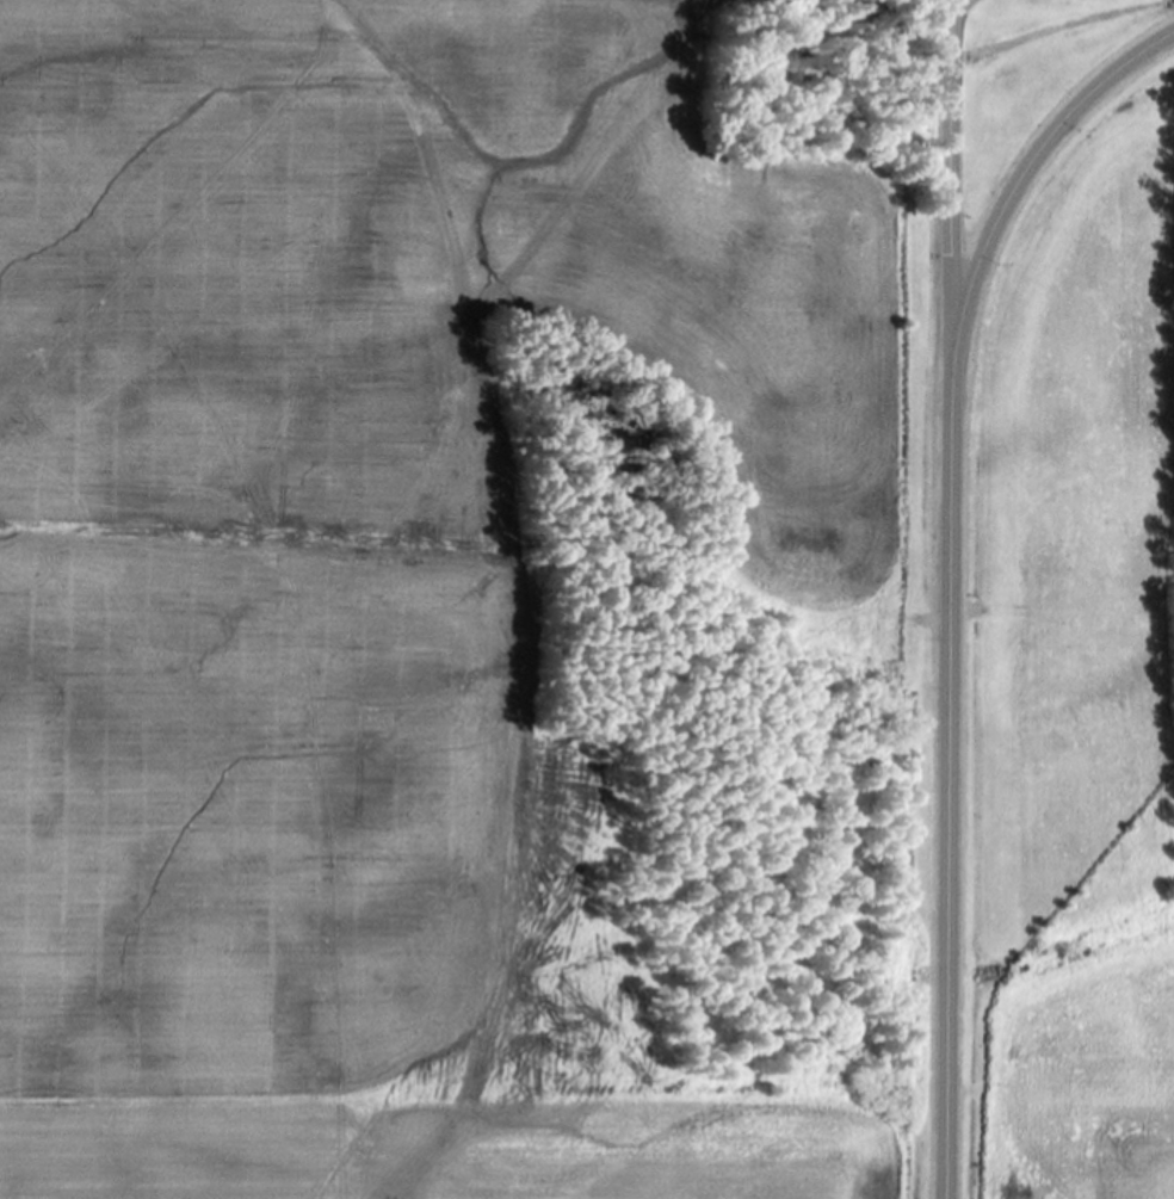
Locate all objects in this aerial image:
road: (1033, 162)
road: (952, 167)
road: (946, 766)

